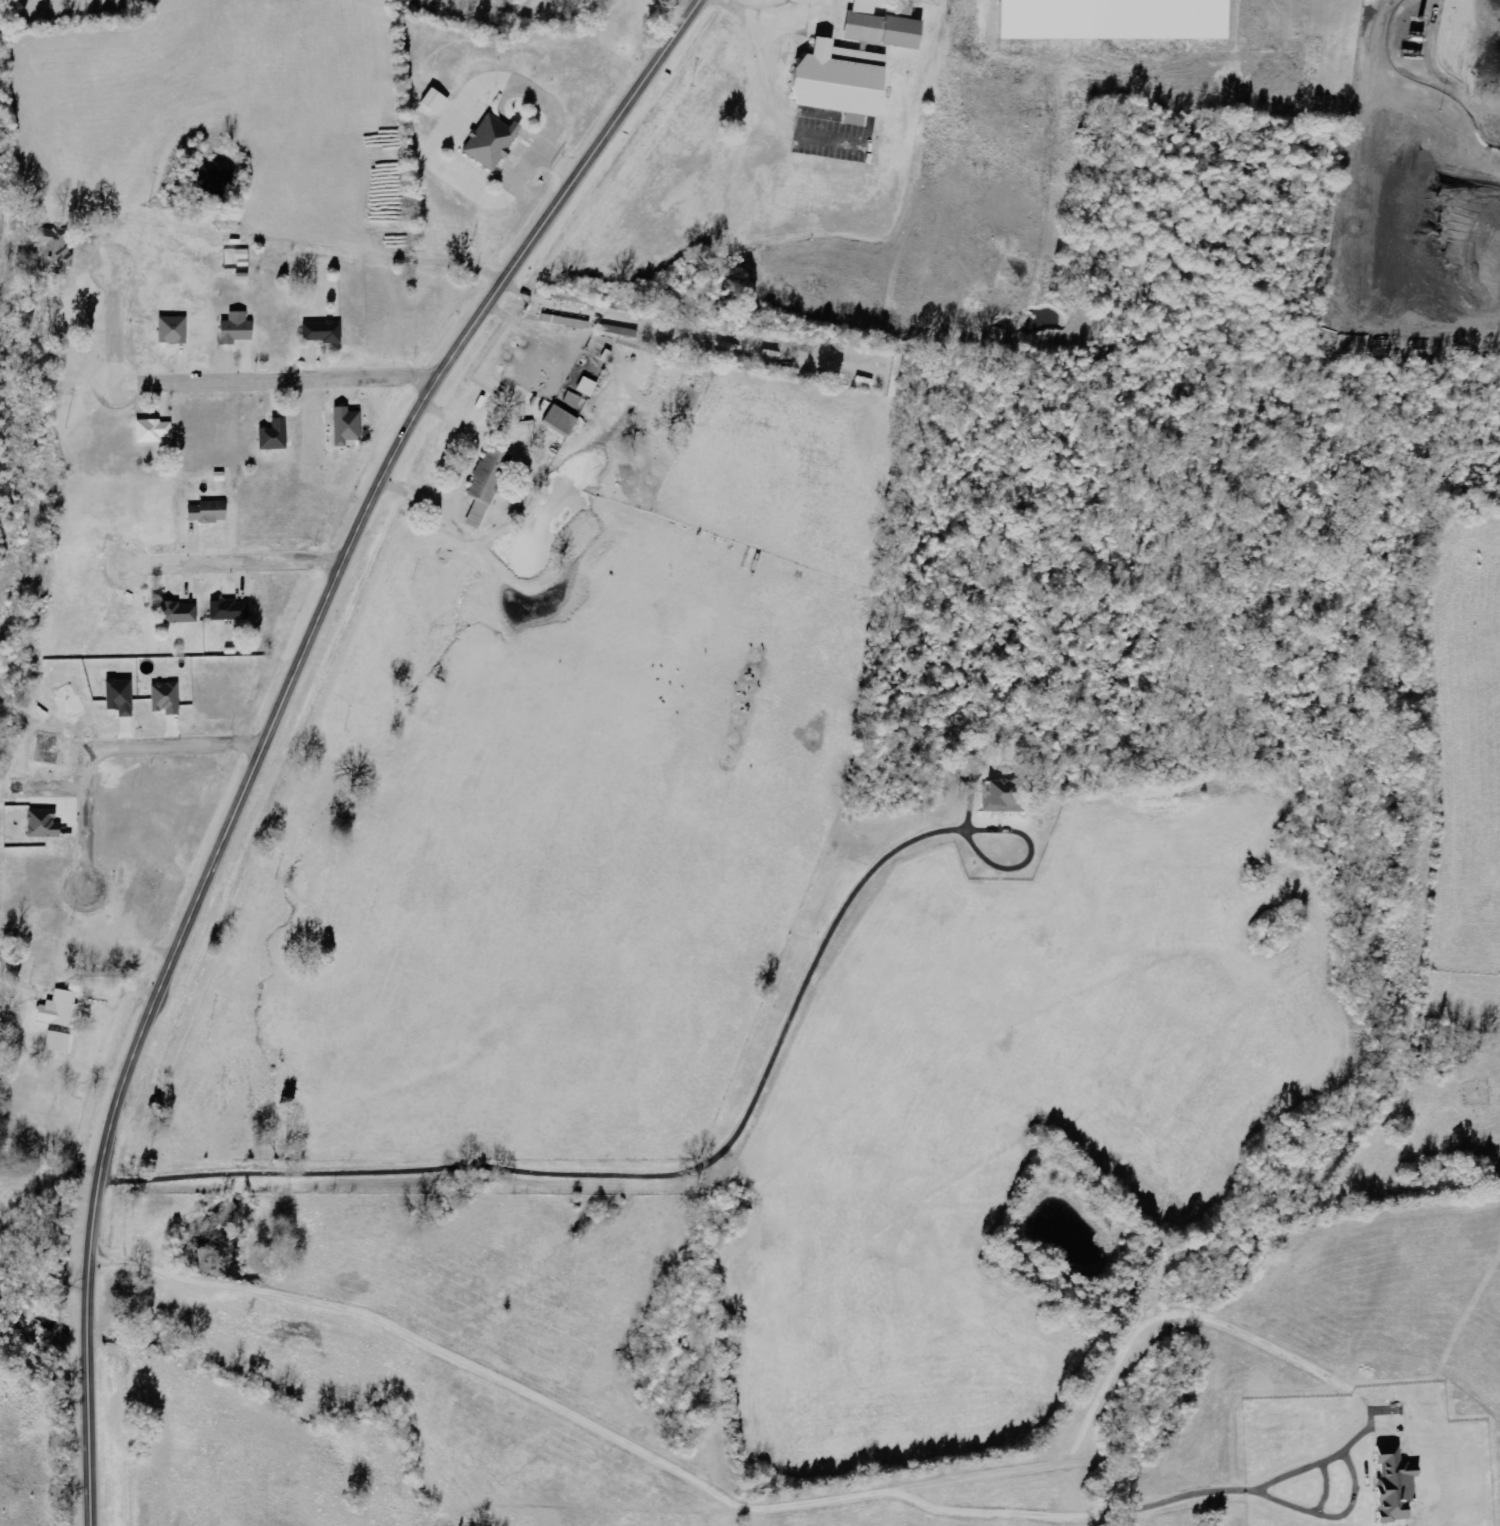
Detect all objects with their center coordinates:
building: (1155, 19)
building: (876, 26)
building: (836, 79)
building: (439, 100)
building: (486, 142)
building: (48, 248)
building: (169, 328)
building: (231, 328)
building: (319, 330)
road: (217, 384)
building: (590, 387)
building: (565, 419)
building: (148, 429)
building: (270, 435)
building: (489, 485)
building: (205, 511)
road: (236, 563)
building: (174, 611)
building: (224, 611)
building: (169, 698)
road: (275, 721)
road: (109, 745)
building: (997, 796)
building: (54, 1008)
building: (58, 1041)
building: (1392, 1484)

